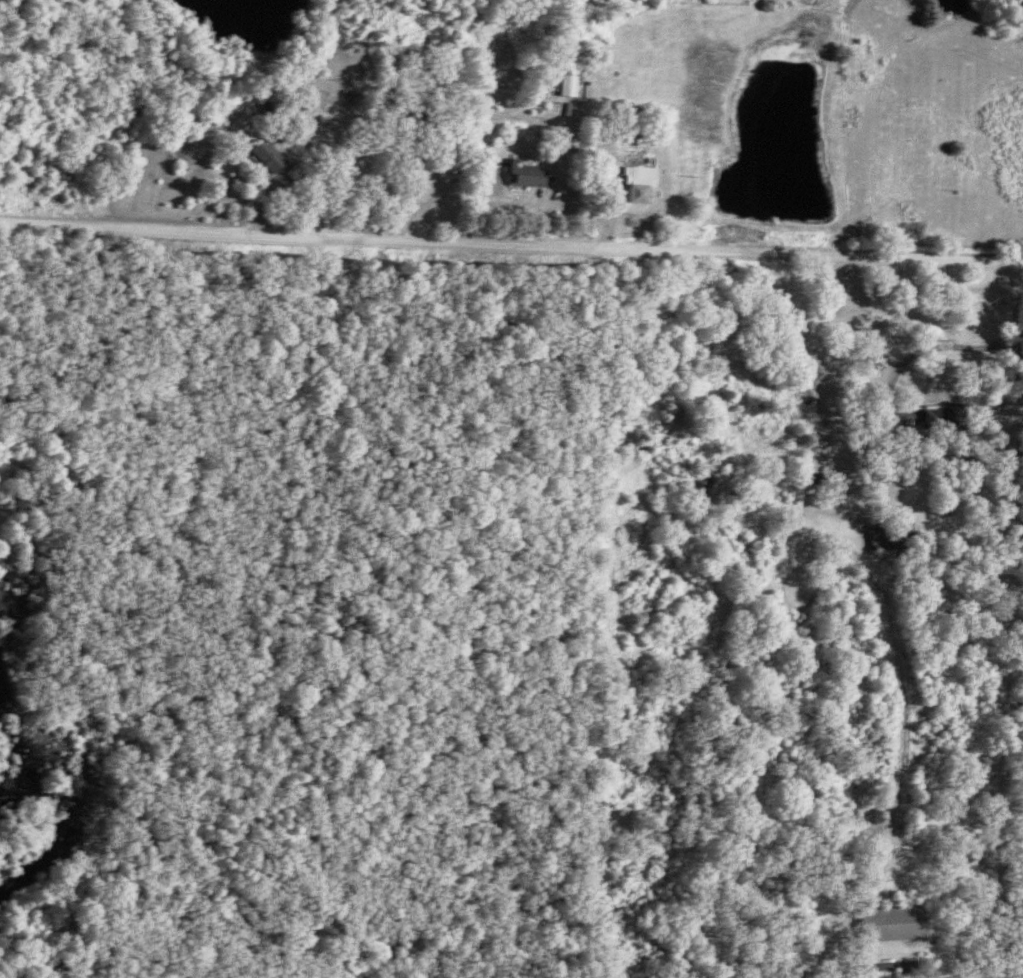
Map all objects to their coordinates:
building: (571, 84)
building: (270, 155)
building: (528, 173)
building: (641, 182)
road: (511, 245)
building: (947, 415)
road: (244, 462)
building: (871, 531)
building: (887, 936)

